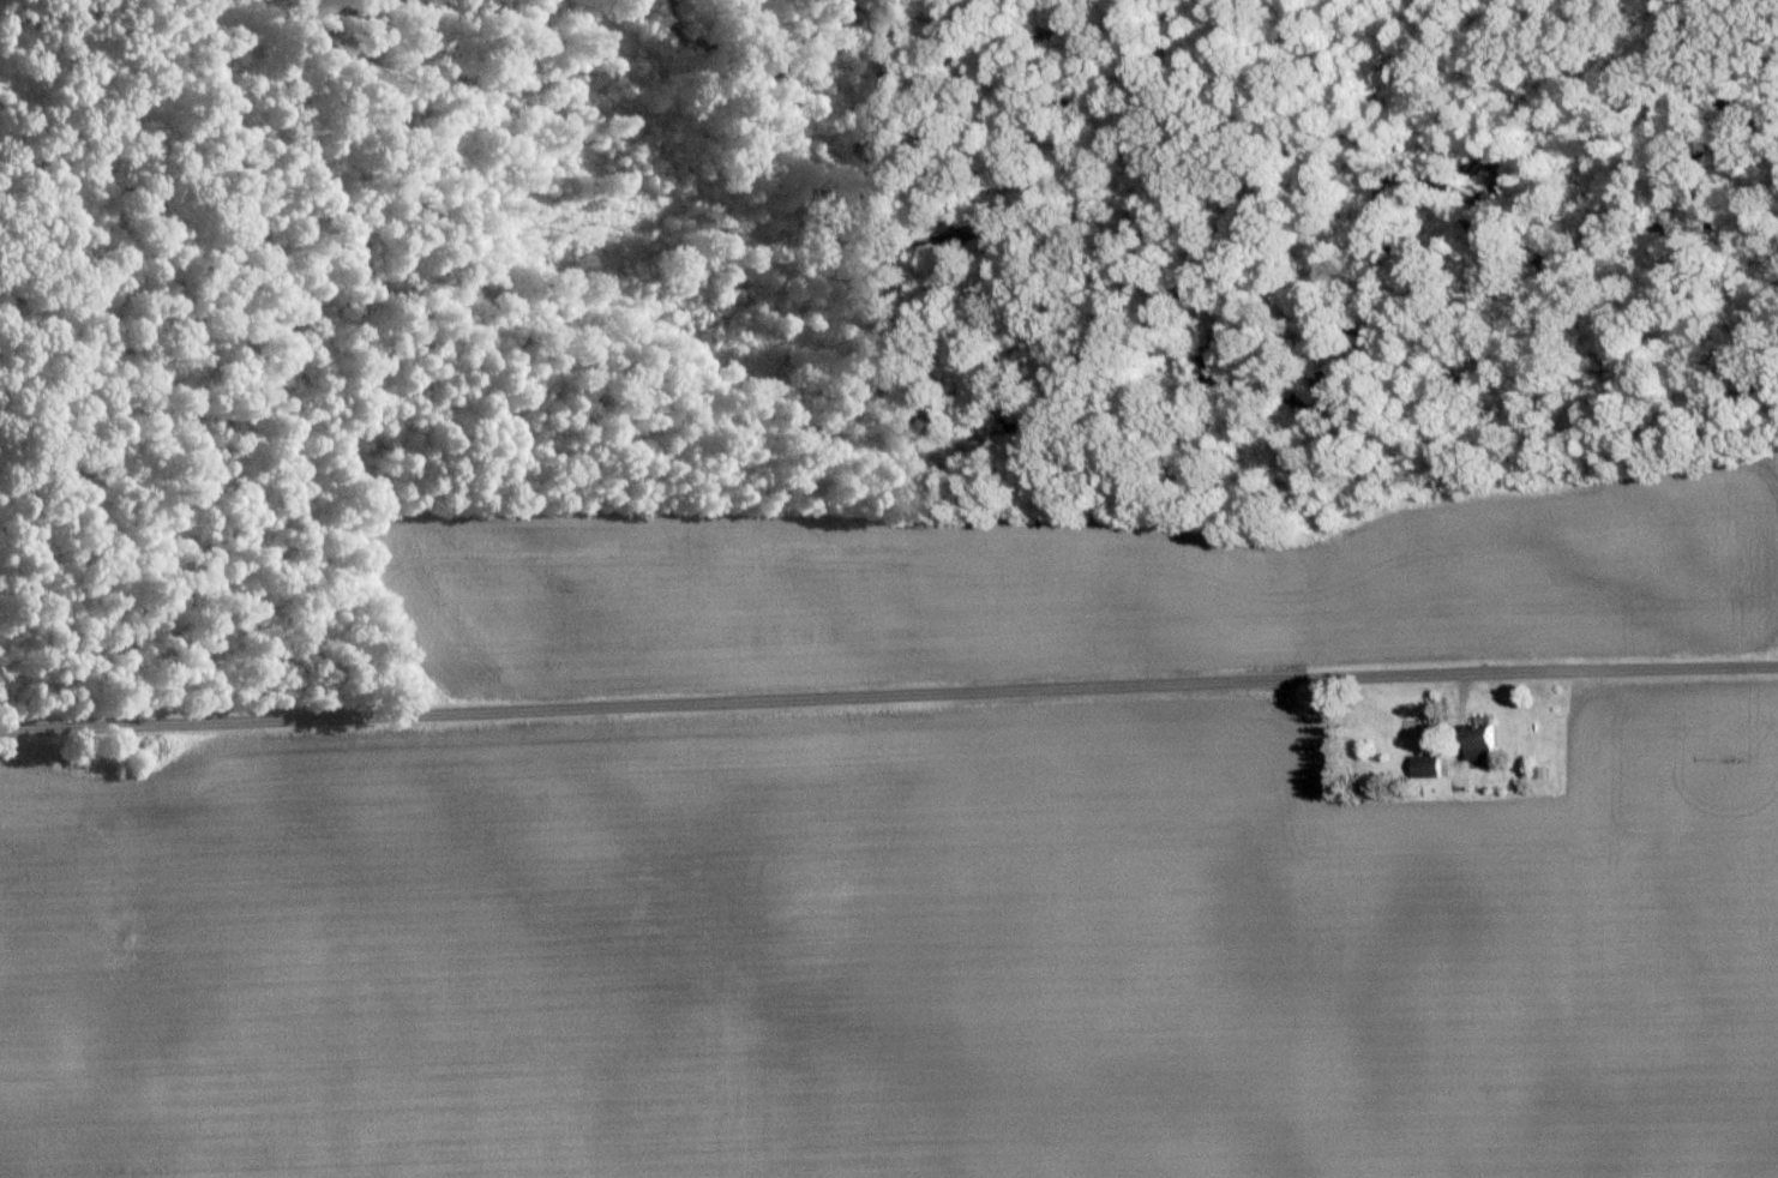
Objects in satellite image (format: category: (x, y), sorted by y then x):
road: (888, 697)
building: (1489, 739)
building: (1430, 763)

